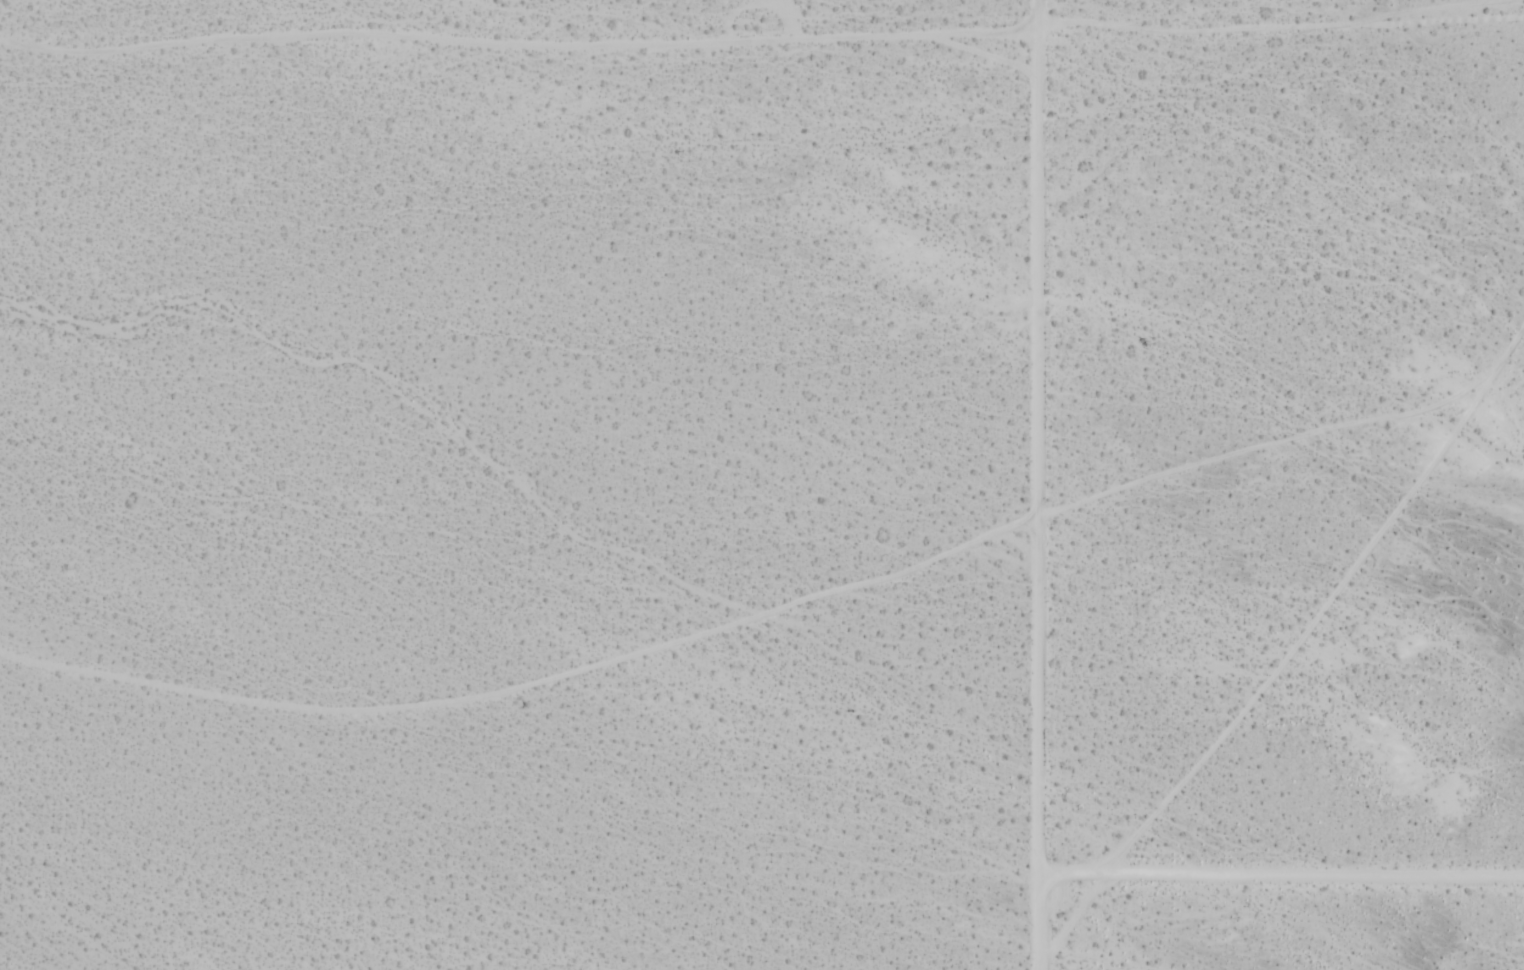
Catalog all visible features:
road: (1233, 20)
road: (1047, 485)
road: (539, 693)
road: (1283, 873)

